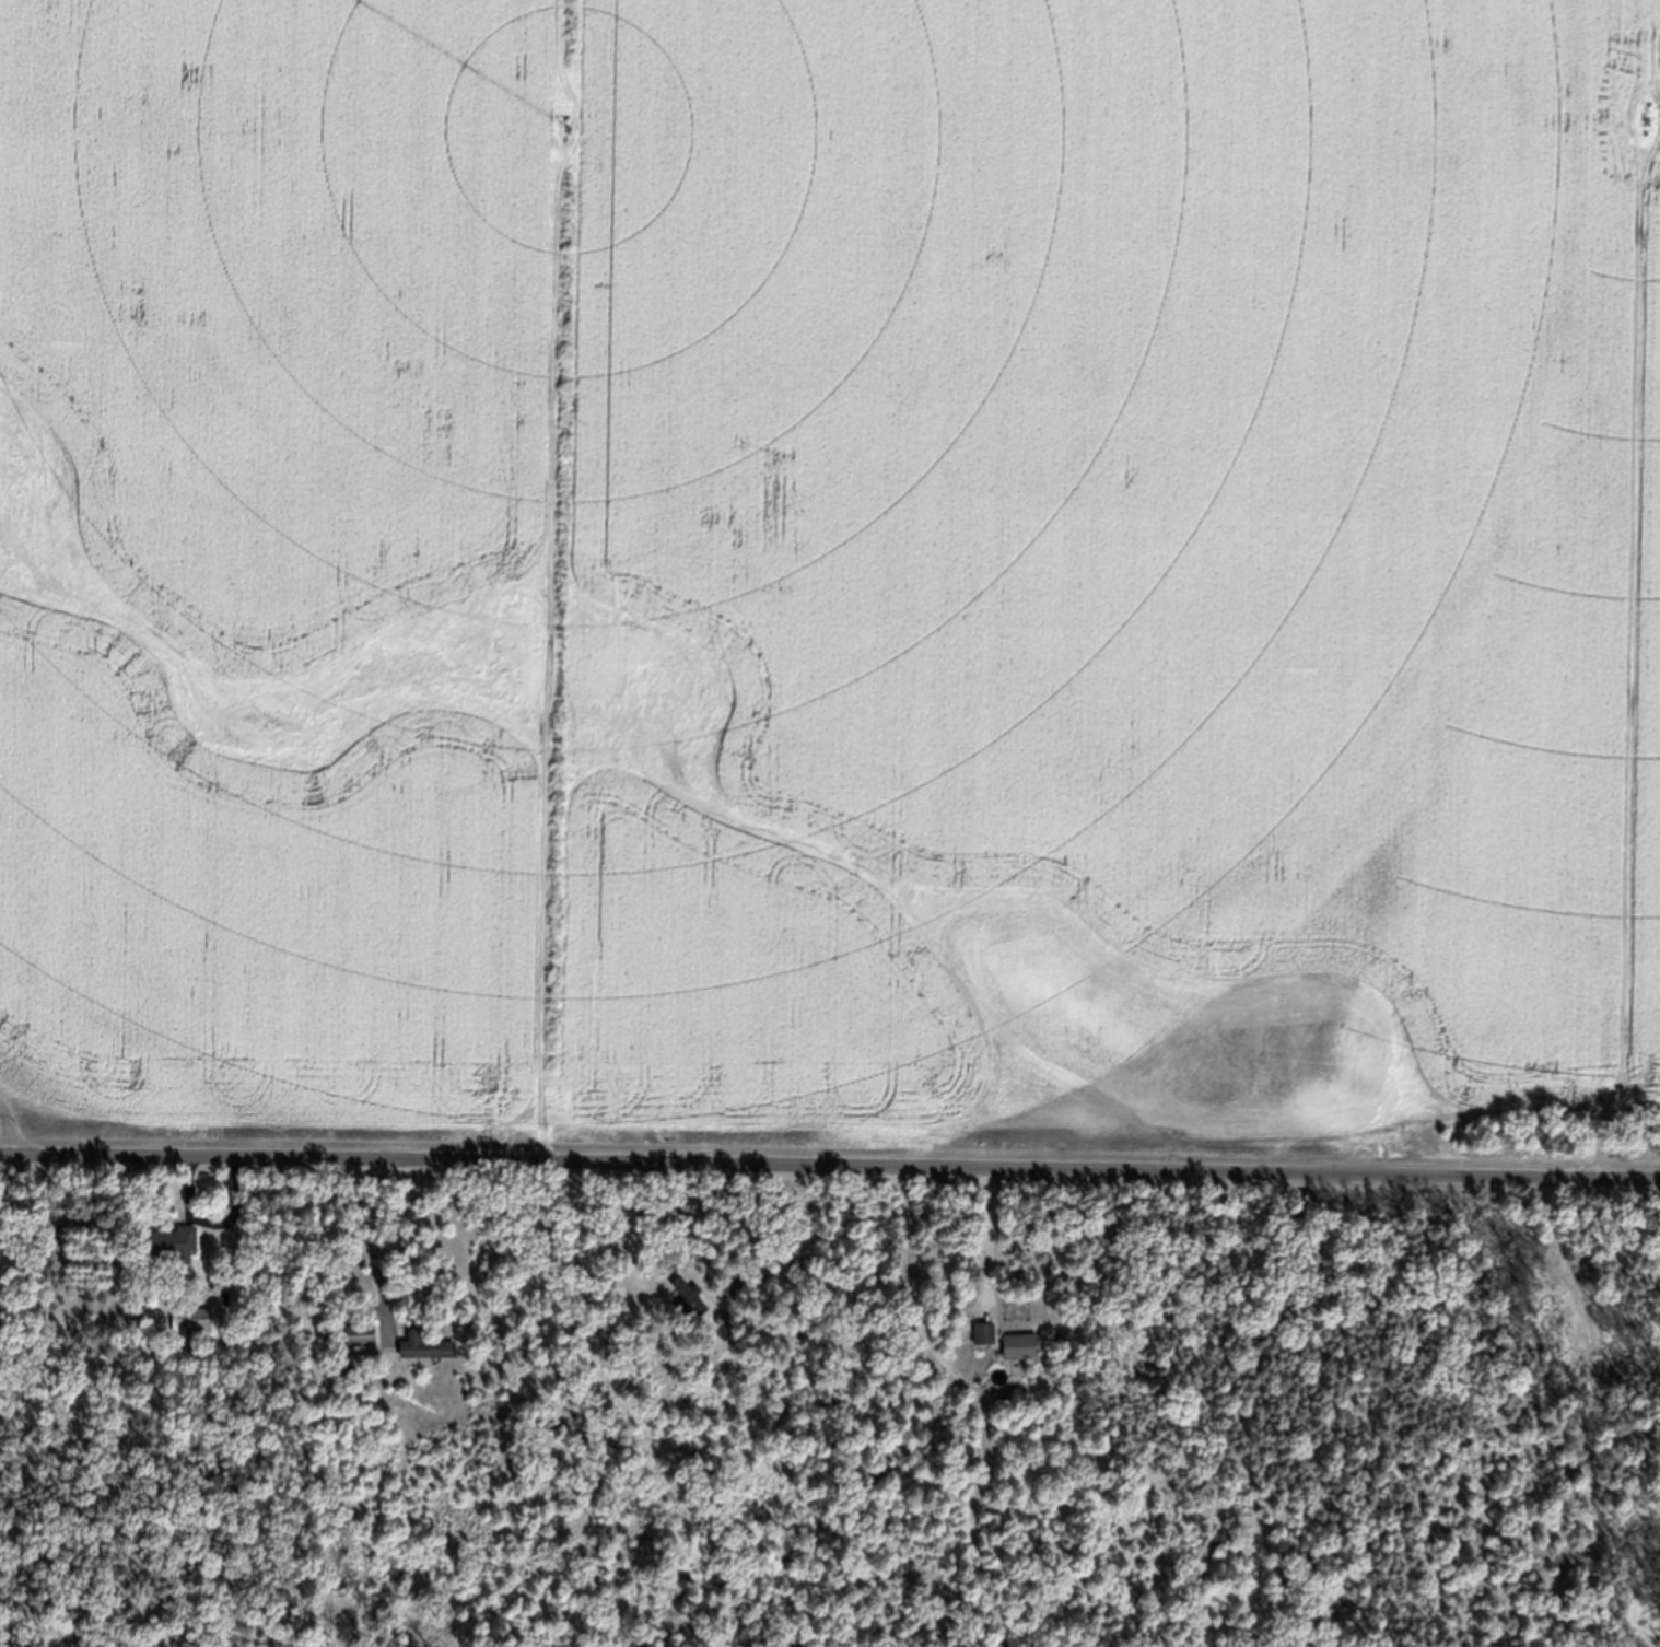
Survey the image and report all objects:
road: (830, 1168)
road: (366, 1246)
building: (176, 1259)
building: (687, 1305)
building: (195, 1333)
building: (985, 1346)
building: (362, 1348)
building: (1021, 1359)
building: (428, 1360)

